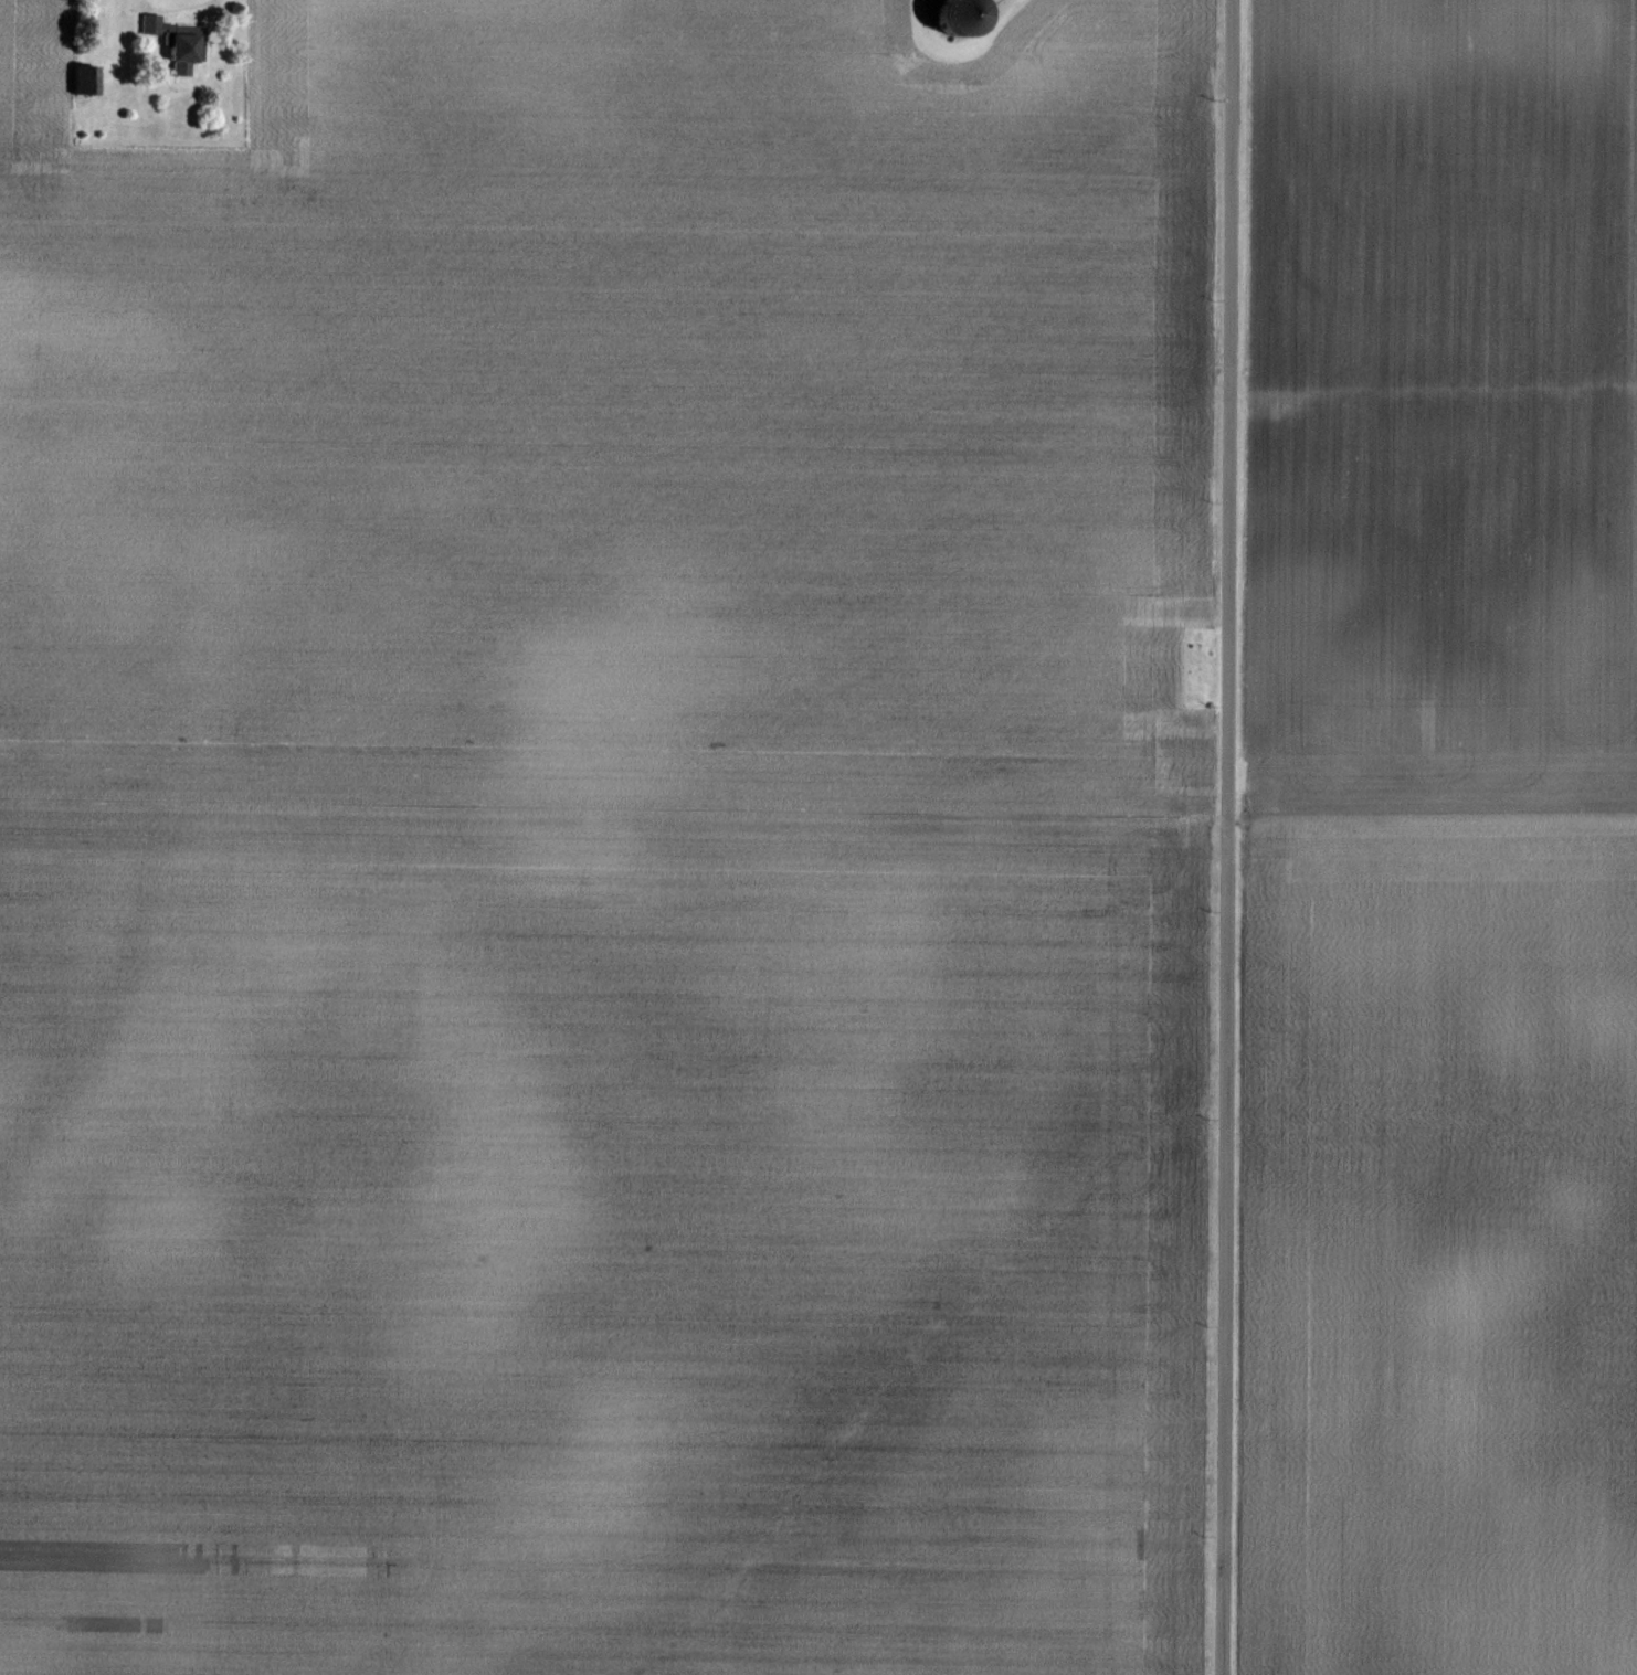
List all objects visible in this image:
building: (86, 73)
road: (1221, 837)

